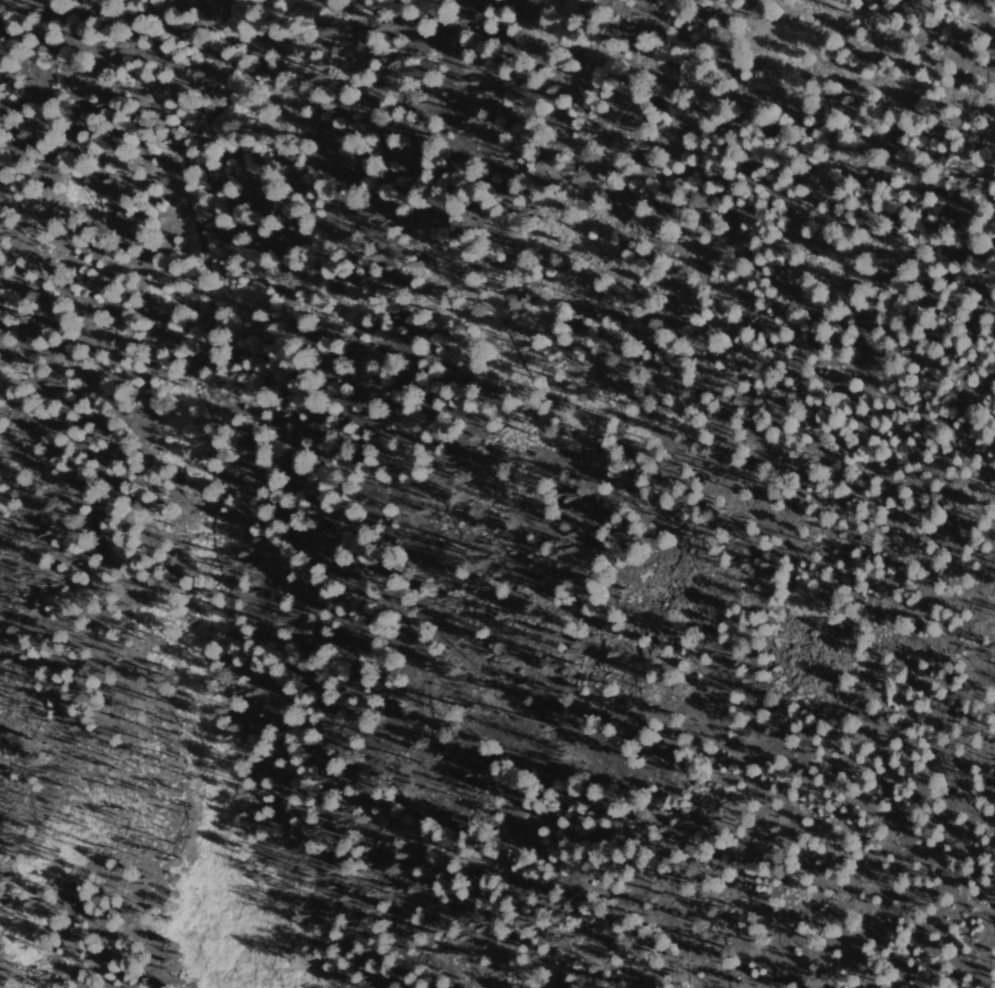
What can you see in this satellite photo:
road: (716, 834)

